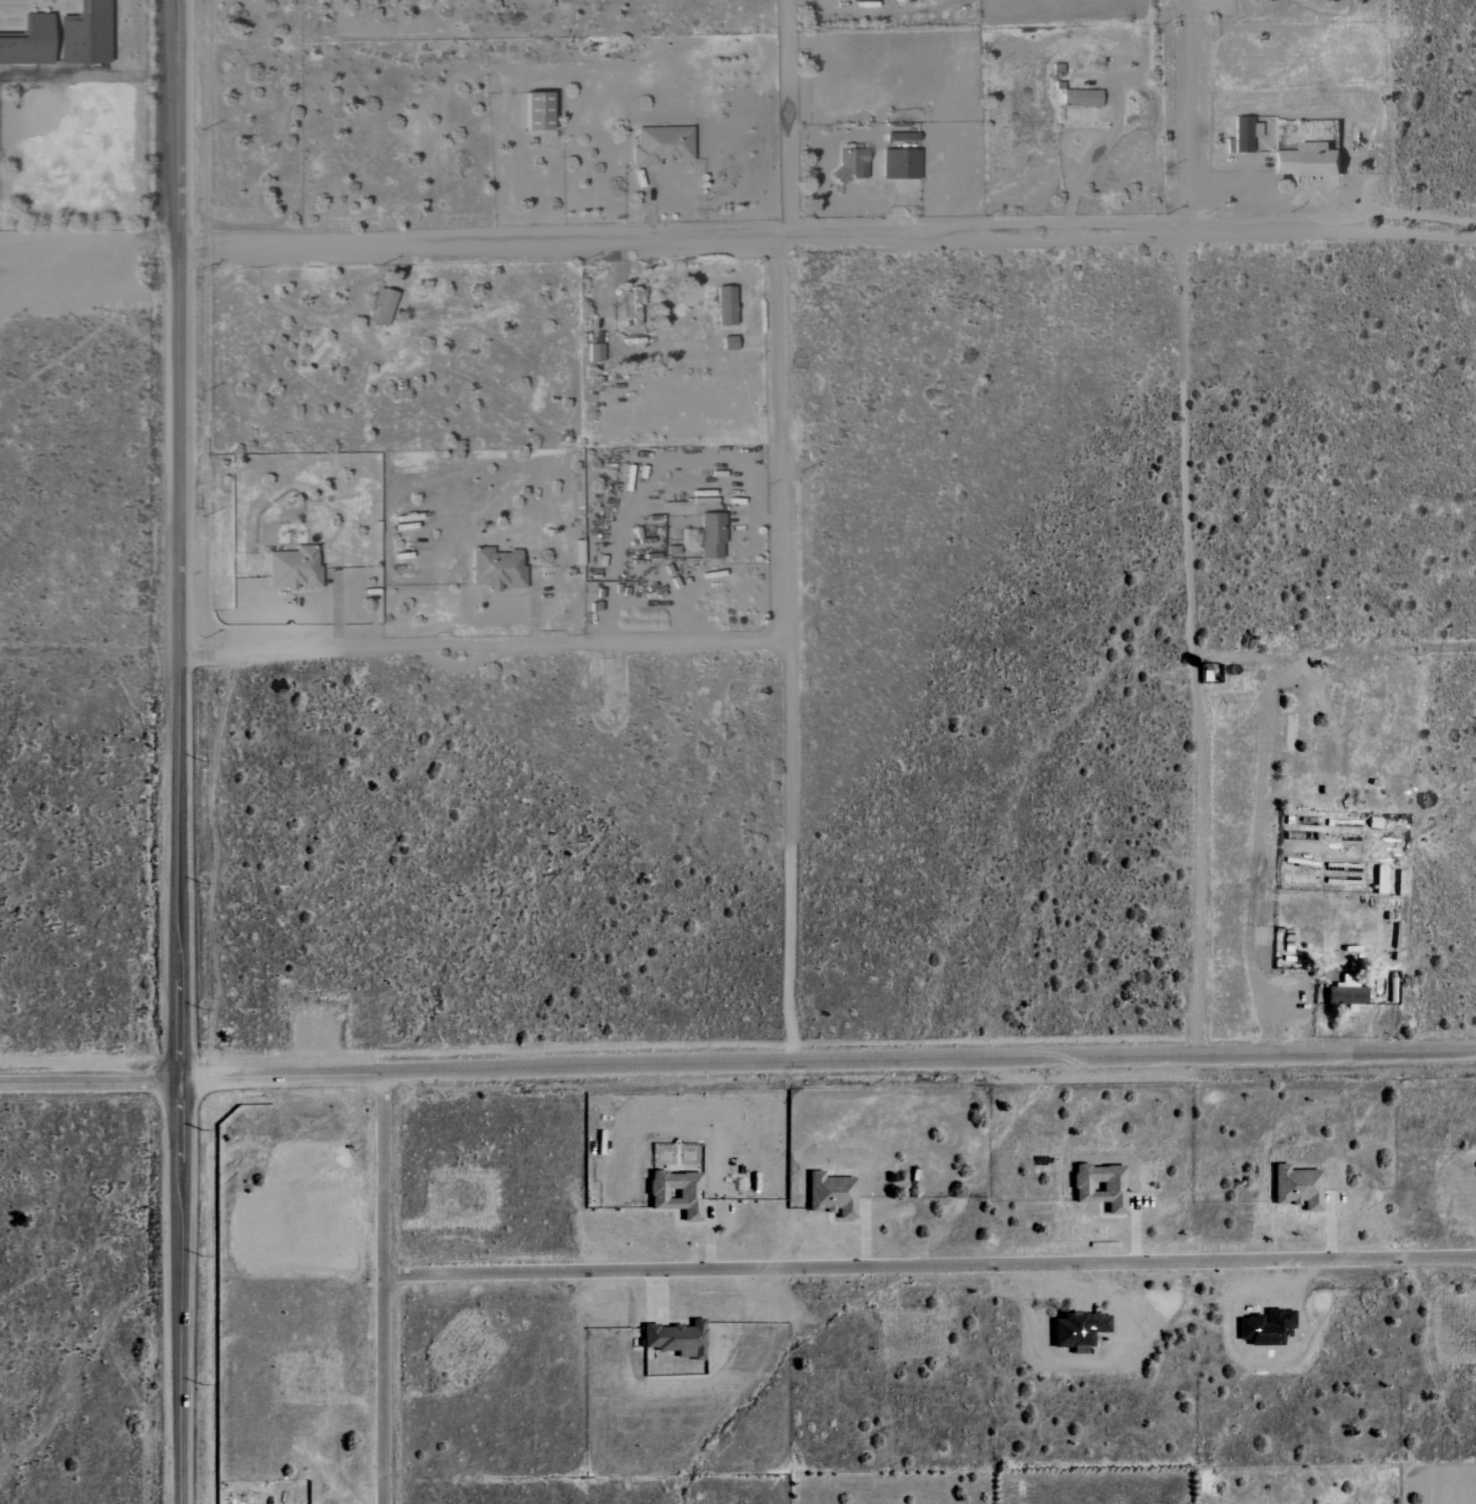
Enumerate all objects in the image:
building: (860, 0)
building: (1080, 98)
building: (535, 110)
building: (1241, 140)
building: (660, 145)
building: (1307, 160)
road: (1087, 162)
building: (899, 163)
building: (851, 164)
road: (1307, 185)
road: (892, 193)
road: (531, 196)
road: (840, 239)
road: (70, 240)
road: (158, 242)
road: (190, 243)
building: (724, 305)
building: (381, 307)
road: (280, 308)
building: (593, 352)
road: (652, 474)
road: (1189, 527)
road: (785, 531)
building: (710, 536)
building: (293, 568)
building: (495, 569)
road: (483, 644)
road: (1336, 651)
road: (178, 751)
road: (1248, 916)
building: (1342, 995)
road: (826, 1062)
road: (89, 1082)
building: (1099, 1186)
building: (1295, 1188)
building: (674, 1192)
building: (832, 1197)
road: (929, 1268)
road: (383, 1289)
building: (675, 1337)

